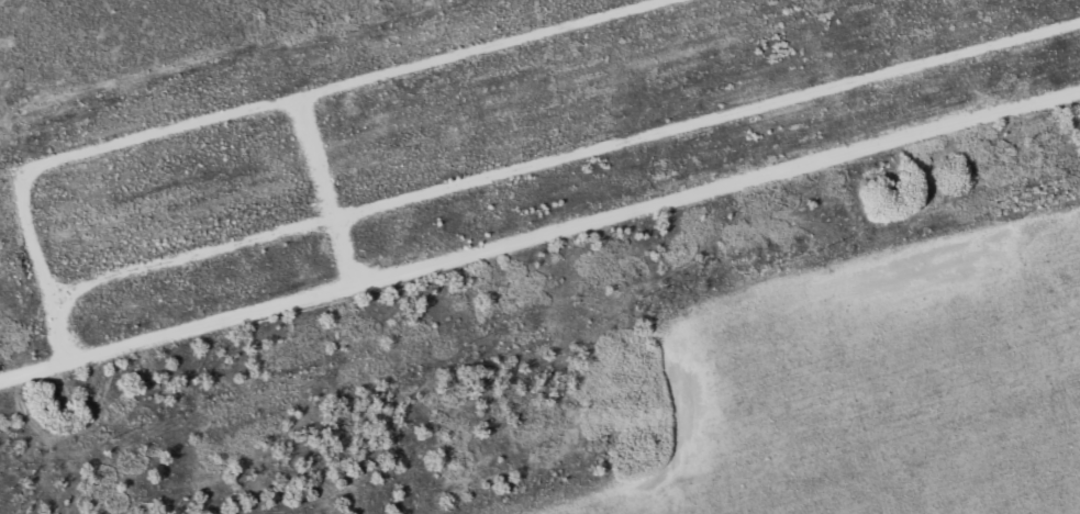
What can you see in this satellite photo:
road: (847, 75)
road: (539, 235)

